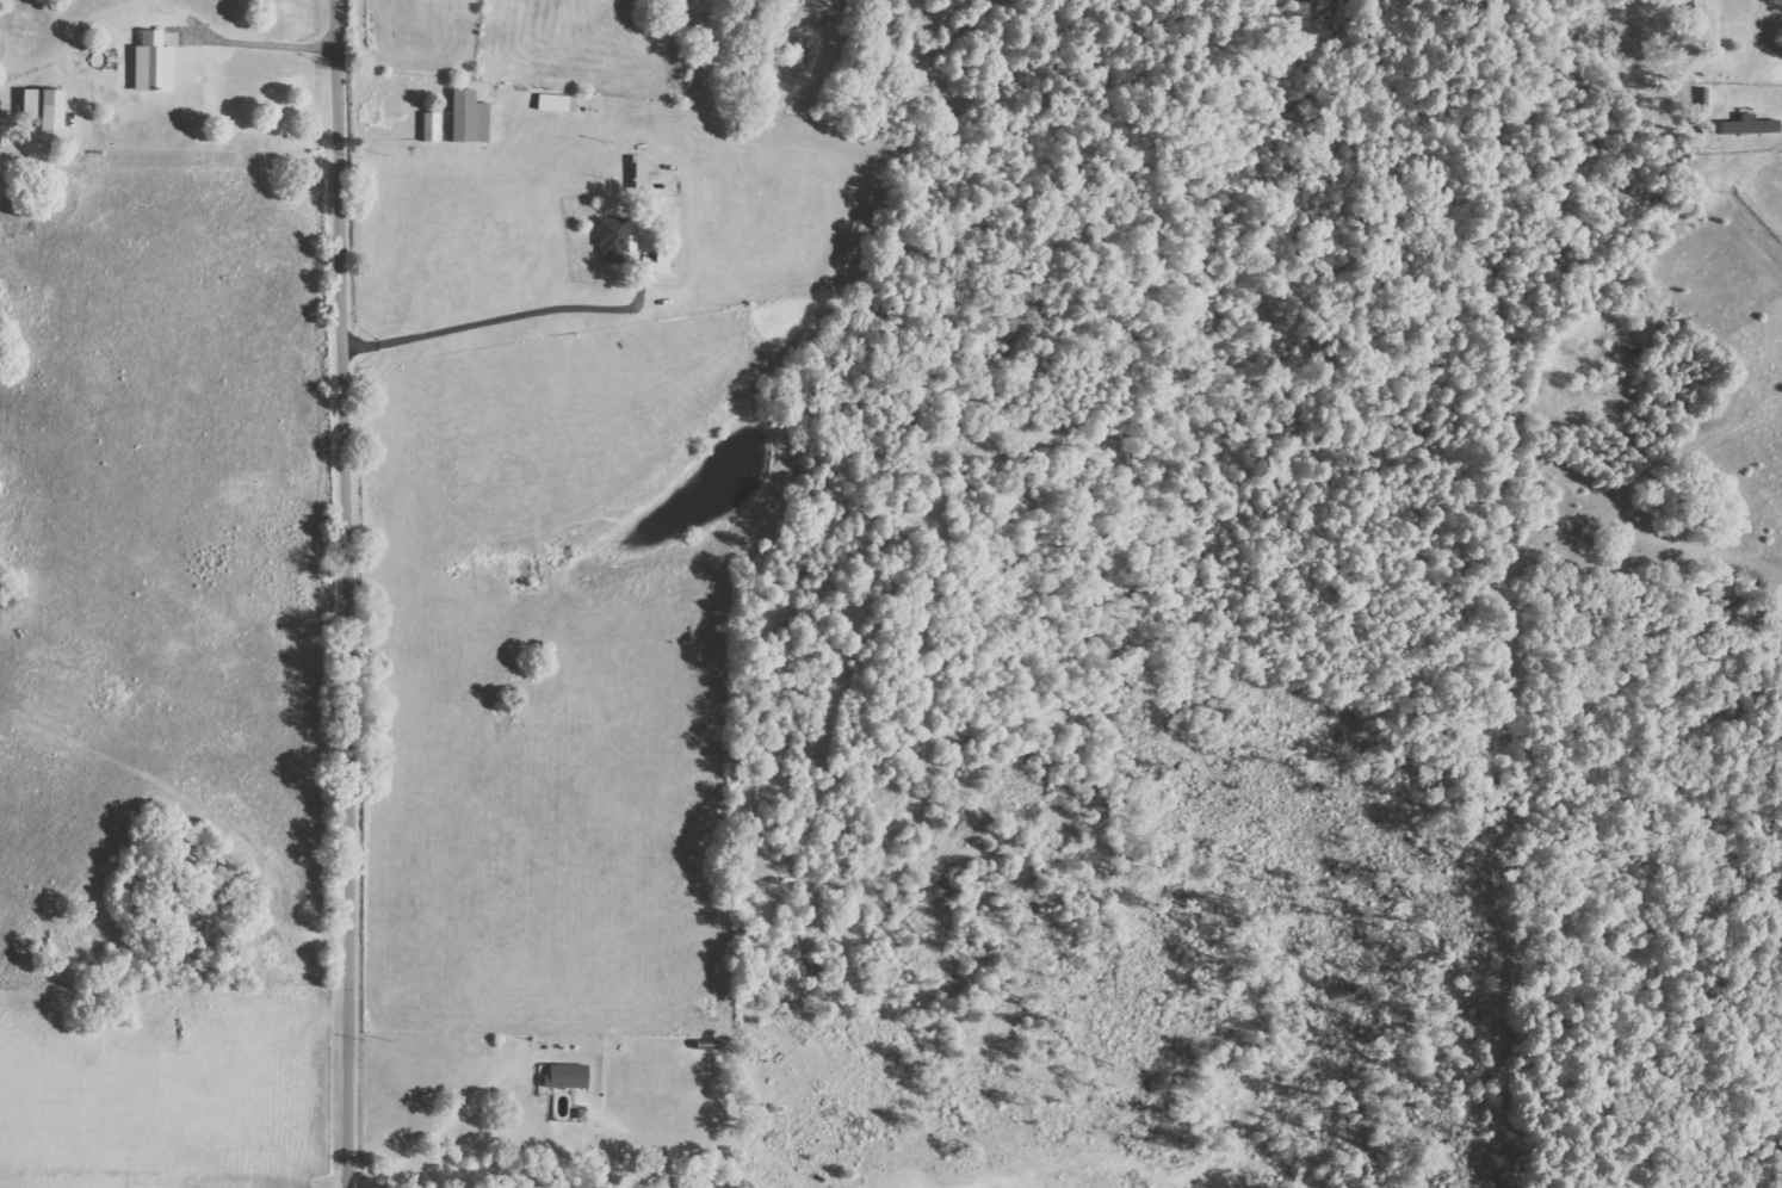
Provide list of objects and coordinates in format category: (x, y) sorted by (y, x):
building: (150, 63)
building: (43, 111)
building: (466, 118)
building: (1746, 125)
building: (660, 264)
road: (341, 593)
building: (565, 1077)

